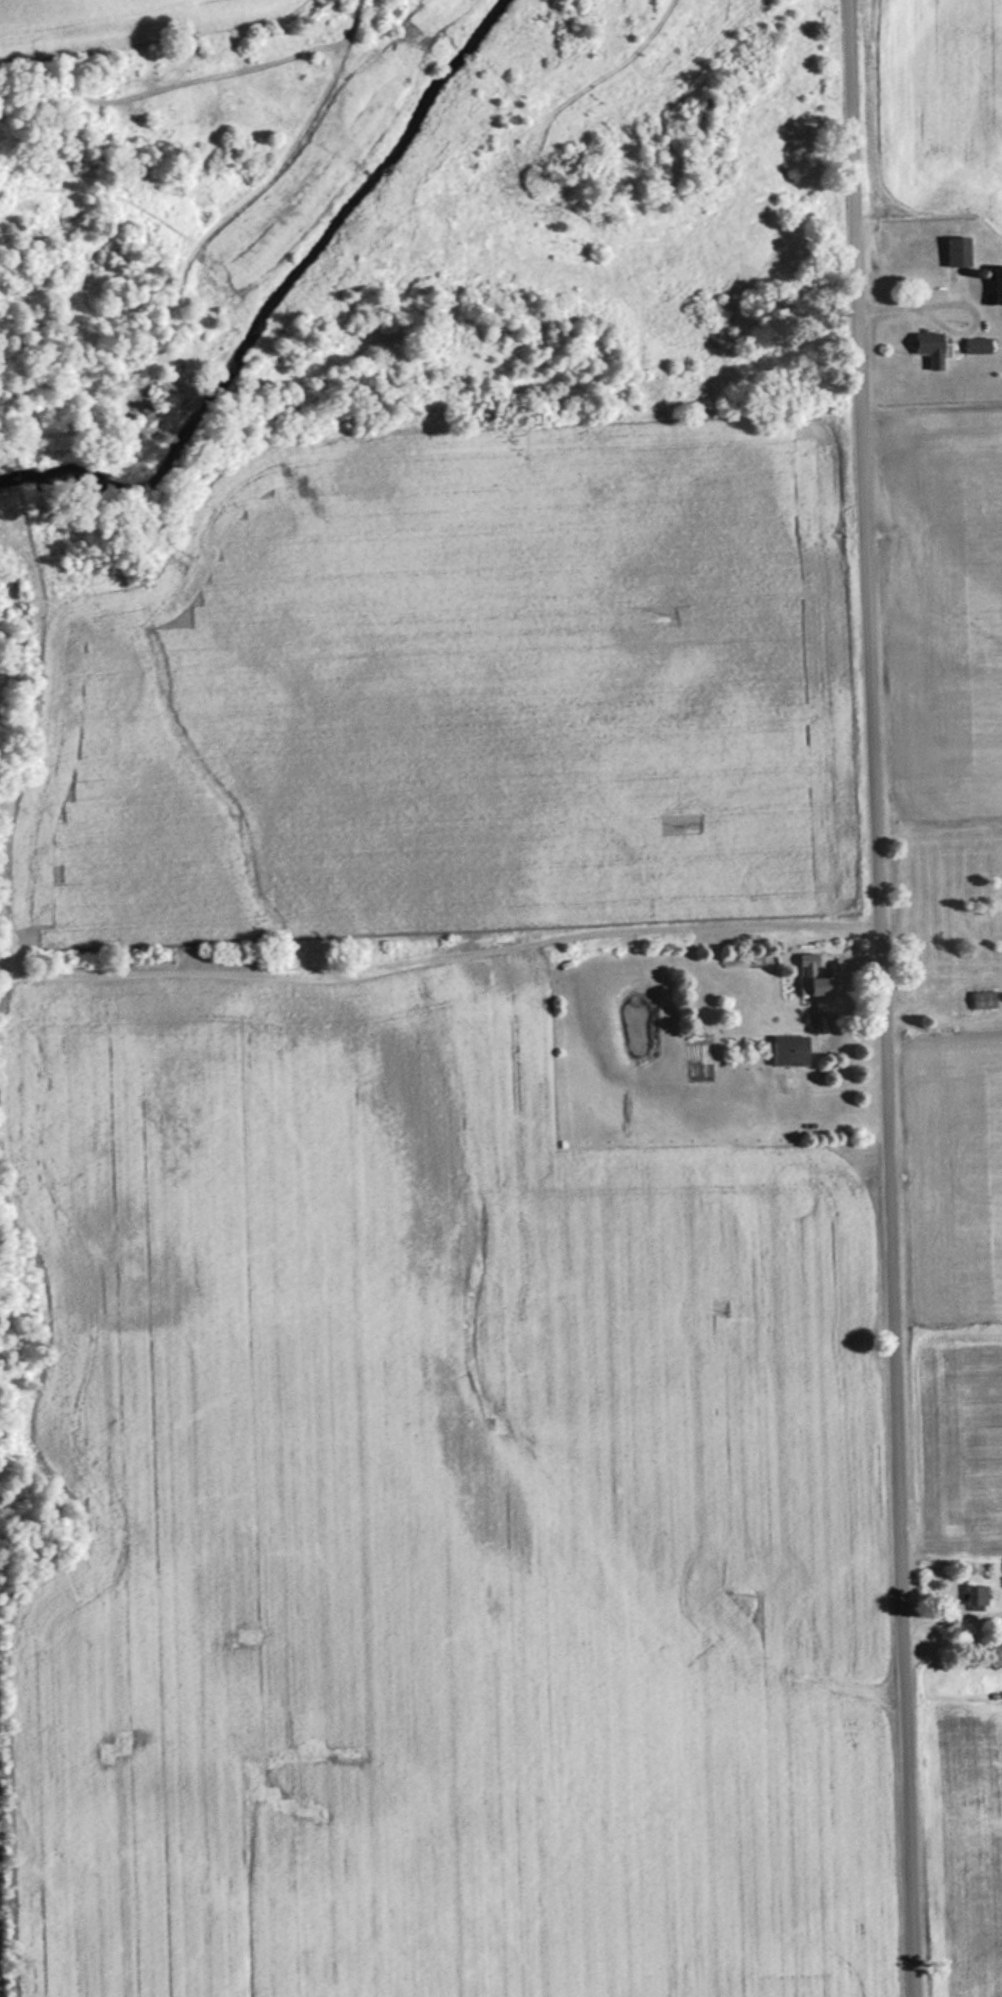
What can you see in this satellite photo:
building: (955, 251)
building: (997, 285)
building: (976, 345)
building: (929, 348)
building: (944, 977)
building: (818, 987)
road: (882, 998)
building: (981, 999)
building: (788, 1050)
building: (975, 1596)

